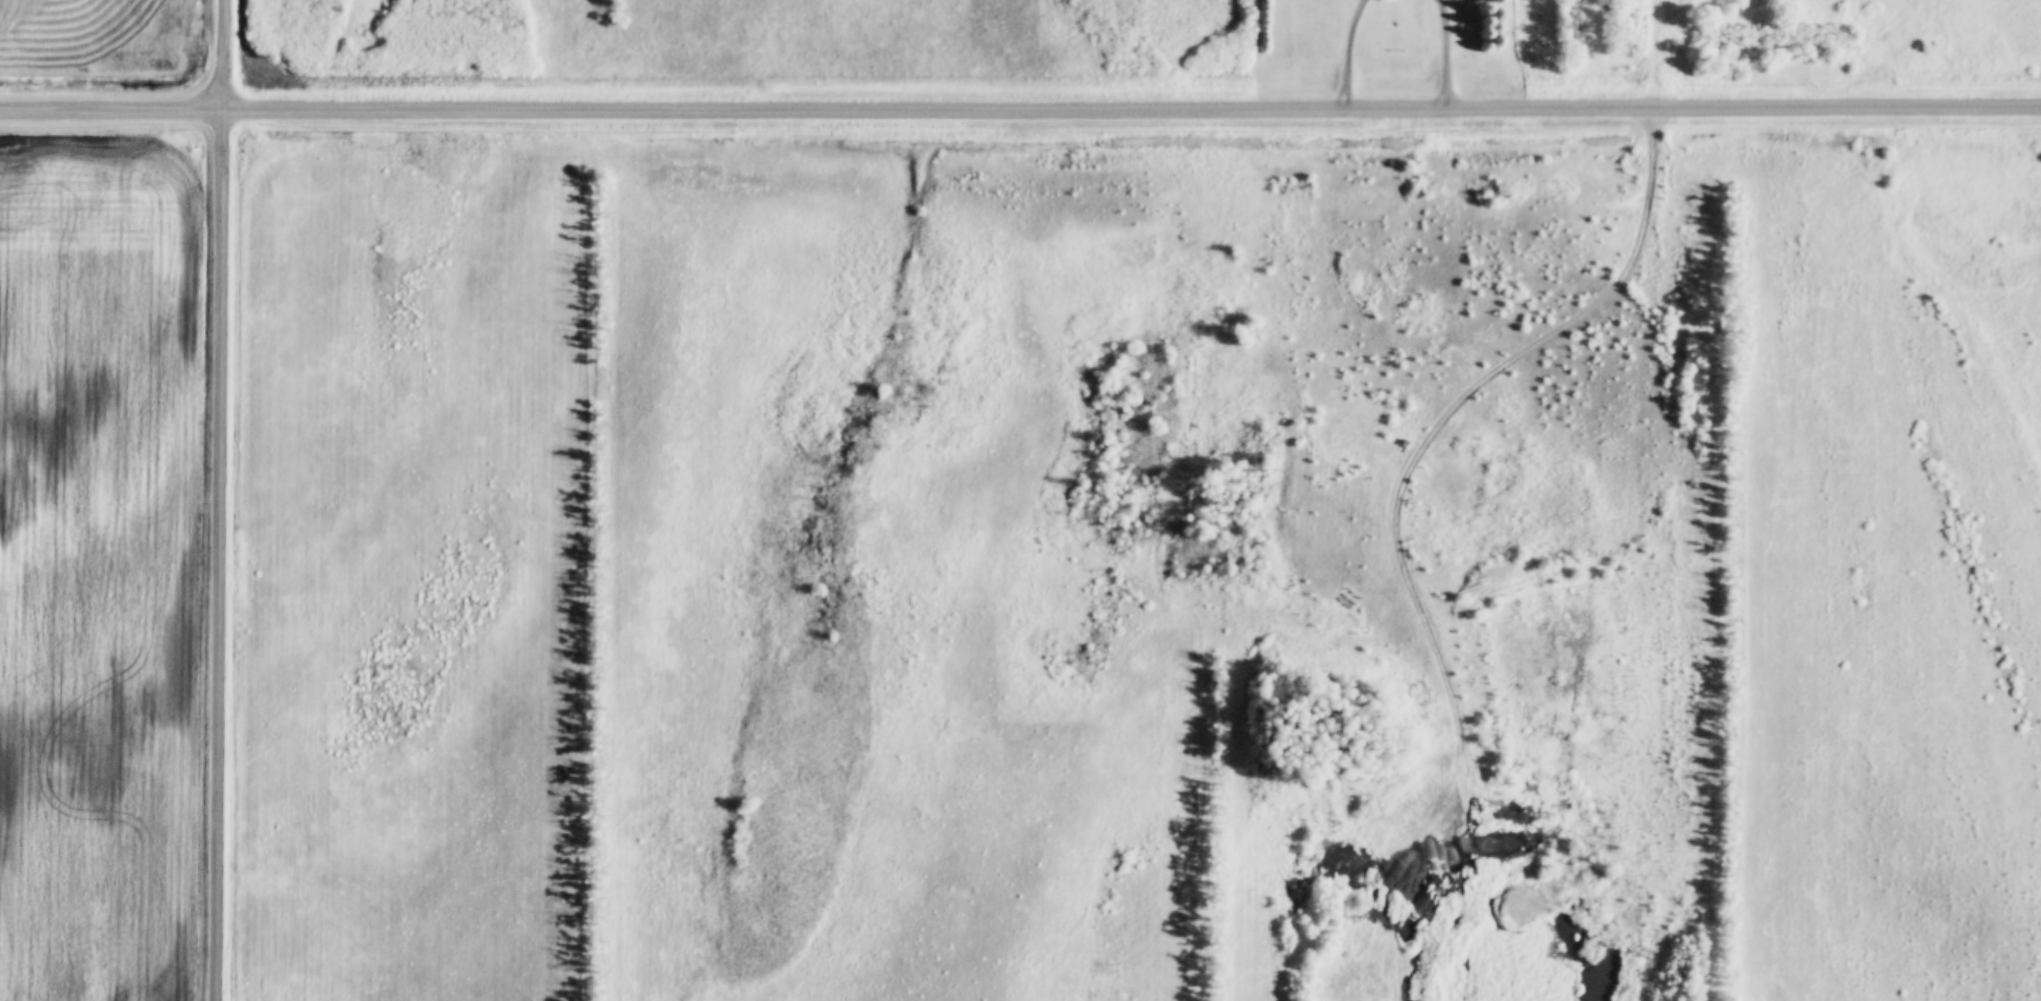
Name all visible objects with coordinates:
road: (1354, 53)
road: (1454, 53)
road: (1658, 54)
road: (1020, 108)
road: (224, 500)
road: (1398, 517)
quarry: (1476, 917)

